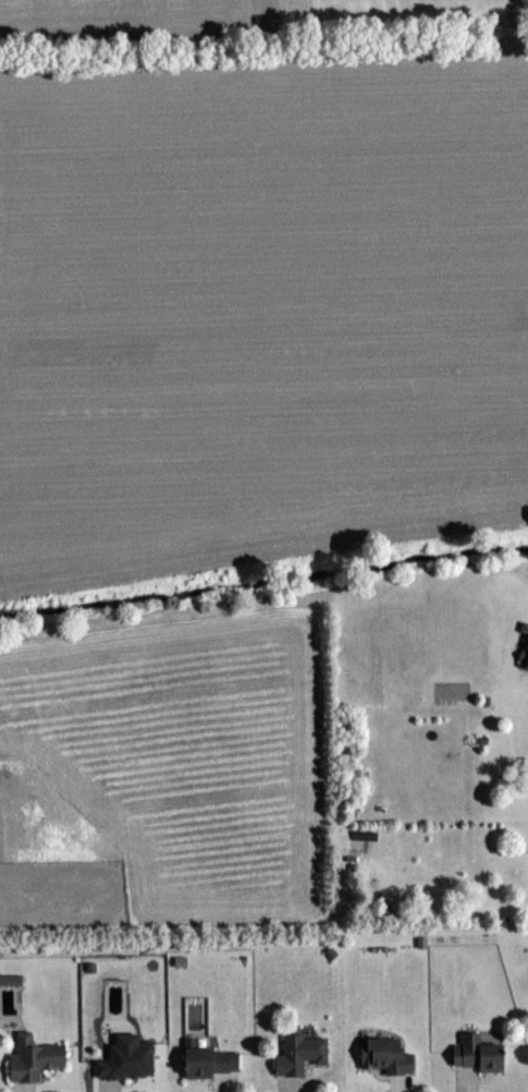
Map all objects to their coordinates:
building: (524, 650)
building: (481, 729)
building: (481, 1047)
building: (303, 1052)
building: (390, 1053)
building: (126, 1058)
building: (37, 1059)
building: (213, 1060)

